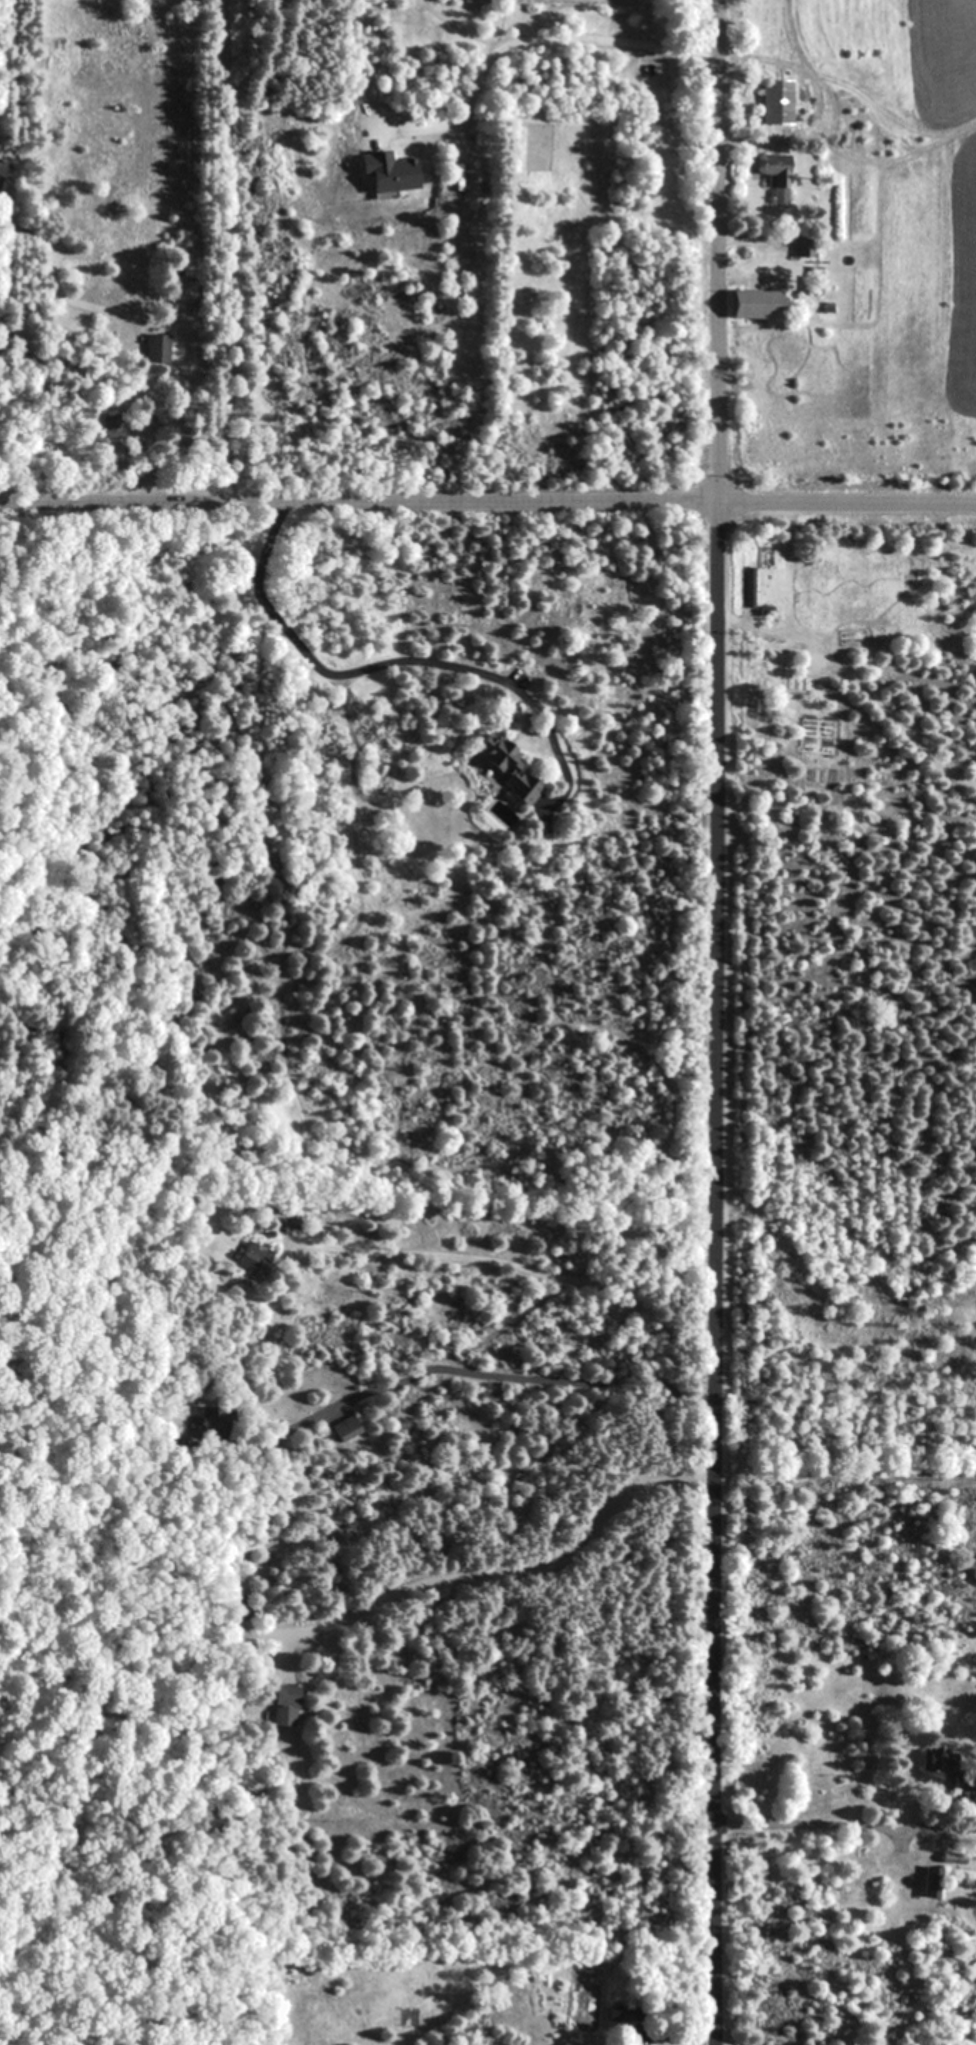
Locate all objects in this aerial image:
road: (523, 40)
building: (777, 103)
building: (3, 168)
building: (387, 172)
building: (776, 179)
road: (227, 251)
building: (190, 265)
road: (98, 306)
building: (754, 310)
building: (156, 348)
building: (113, 427)
road: (488, 501)
building: (750, 583)
road: (393, 662)
building: (506, 767)
road: (714, 1022)
building: (253, 1258)
road: (509, 1263)
road: (492, 1374)
building: (346, 1428)
road: (508, 1566)
building: (283, 1705)
building: (941, 1764)
road: (811, 1830)
building: (949, 1857)
building: (930, 1882)
building: (623, 2015)

